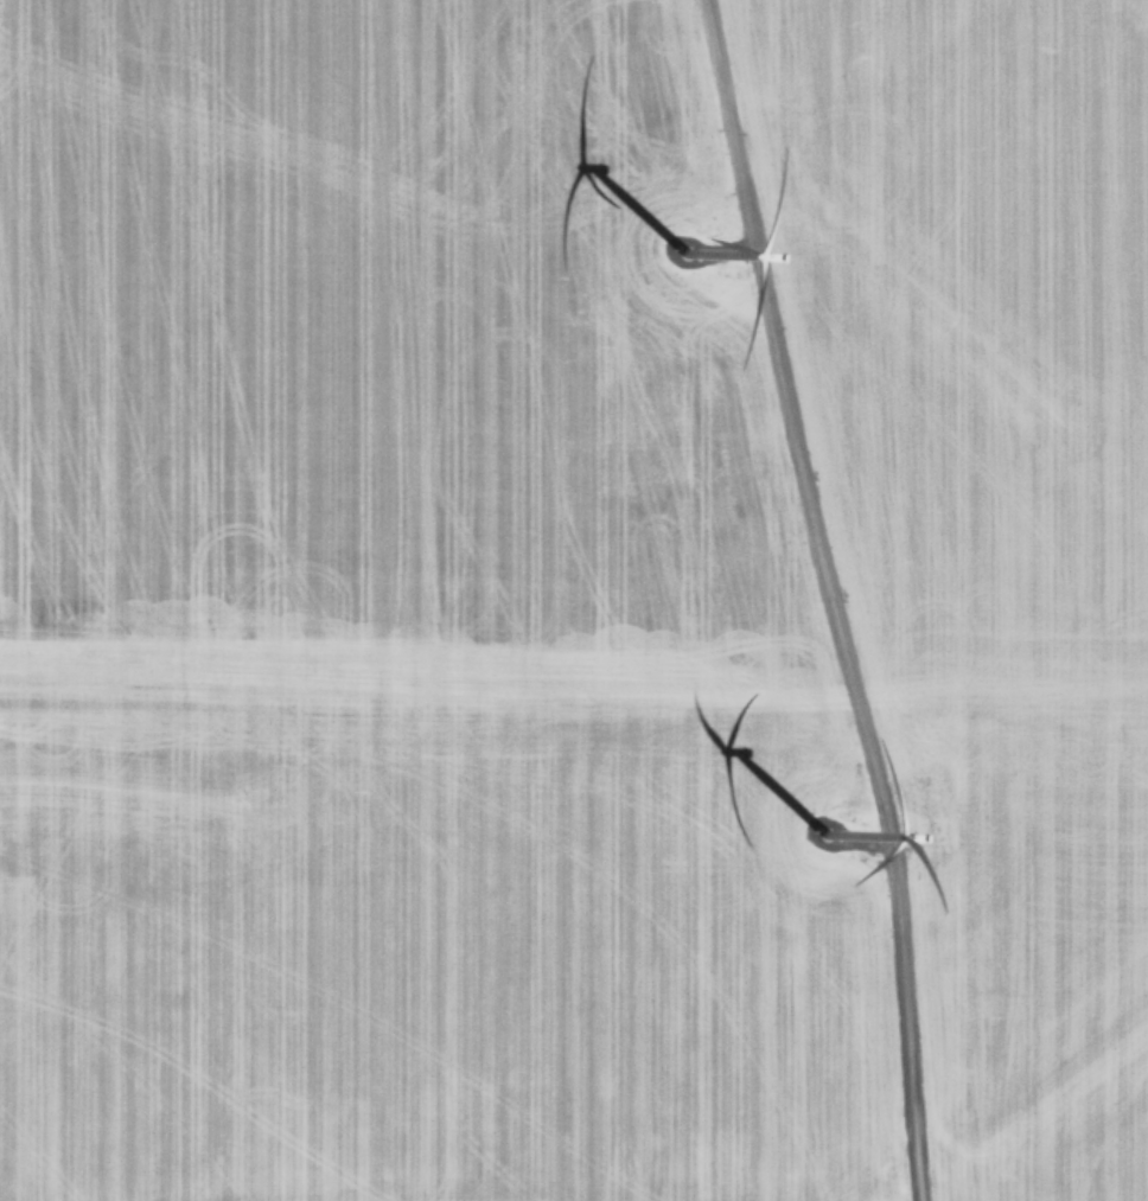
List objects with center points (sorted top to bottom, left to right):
wind turbine: (682, 263)
road: (831, 596)
wind turbine: (831, 848)

